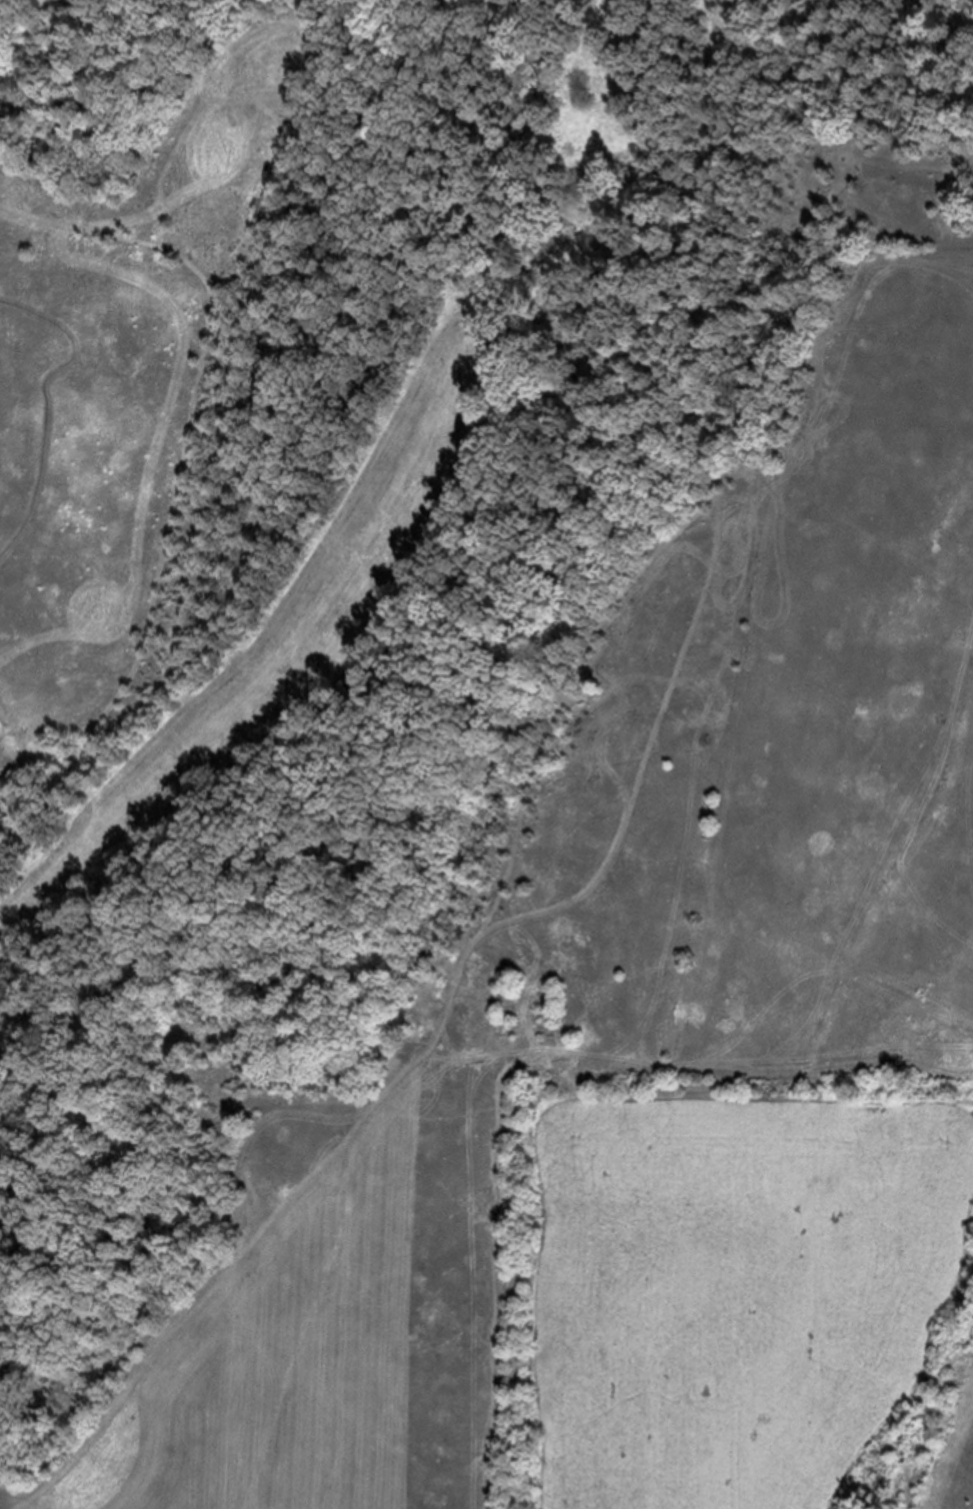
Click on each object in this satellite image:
road: (118, 238)
road: (203, 345)
road: (62, 742)
road: (527, 819)
road: (181, 1325)

